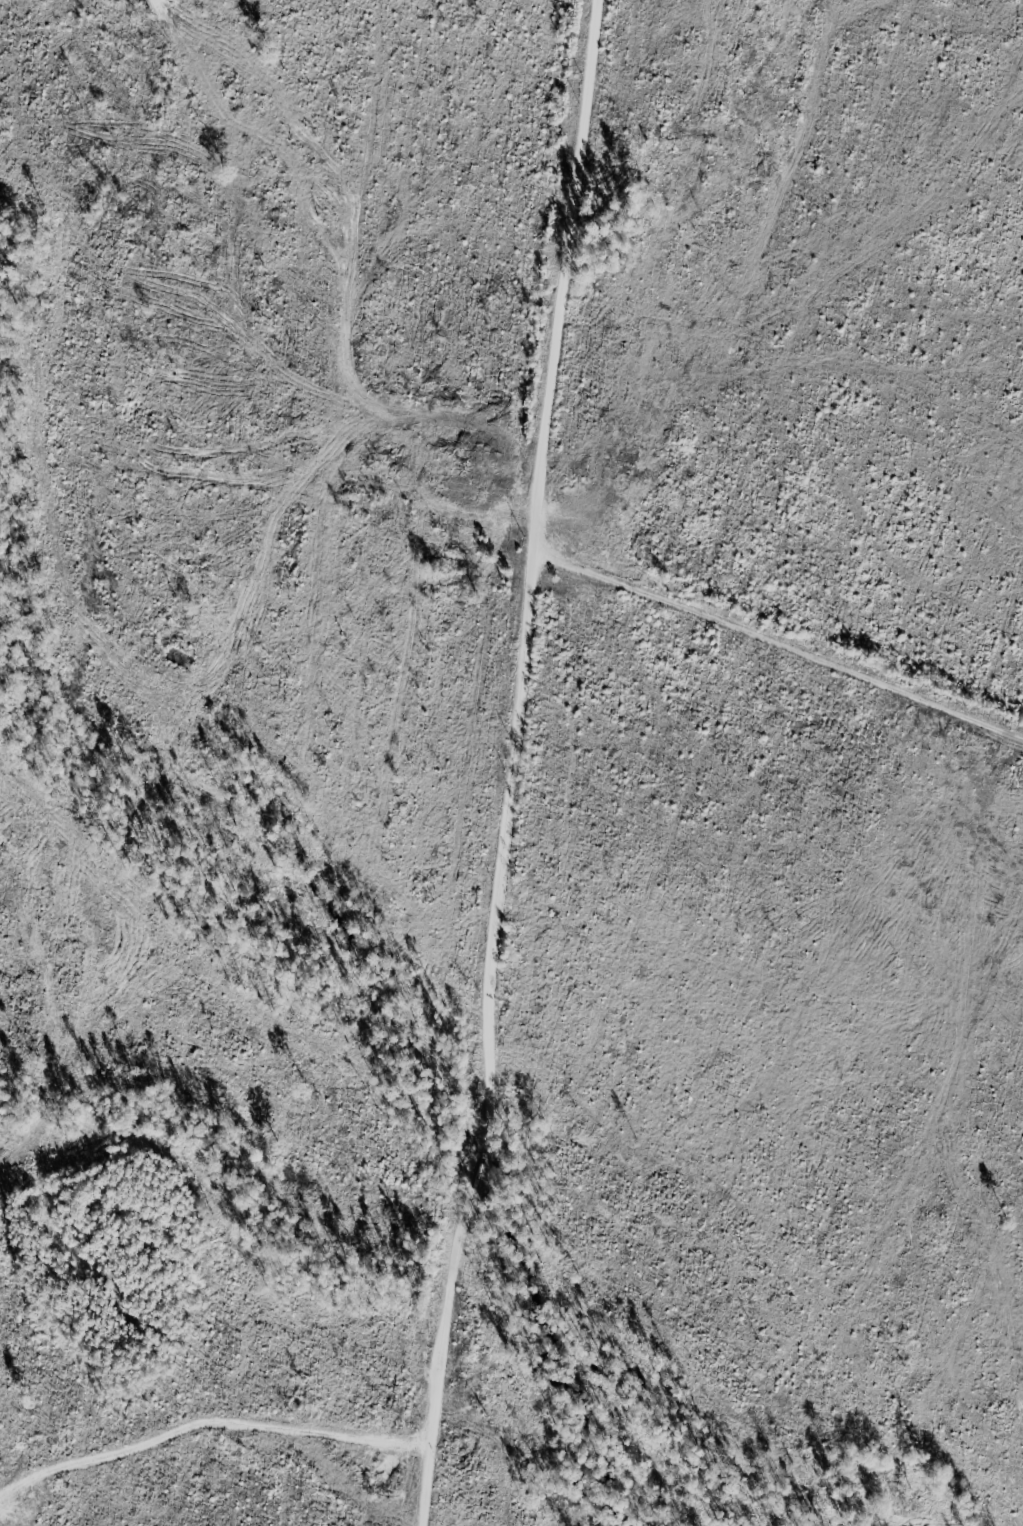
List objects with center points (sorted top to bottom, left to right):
road: (508, 763)

